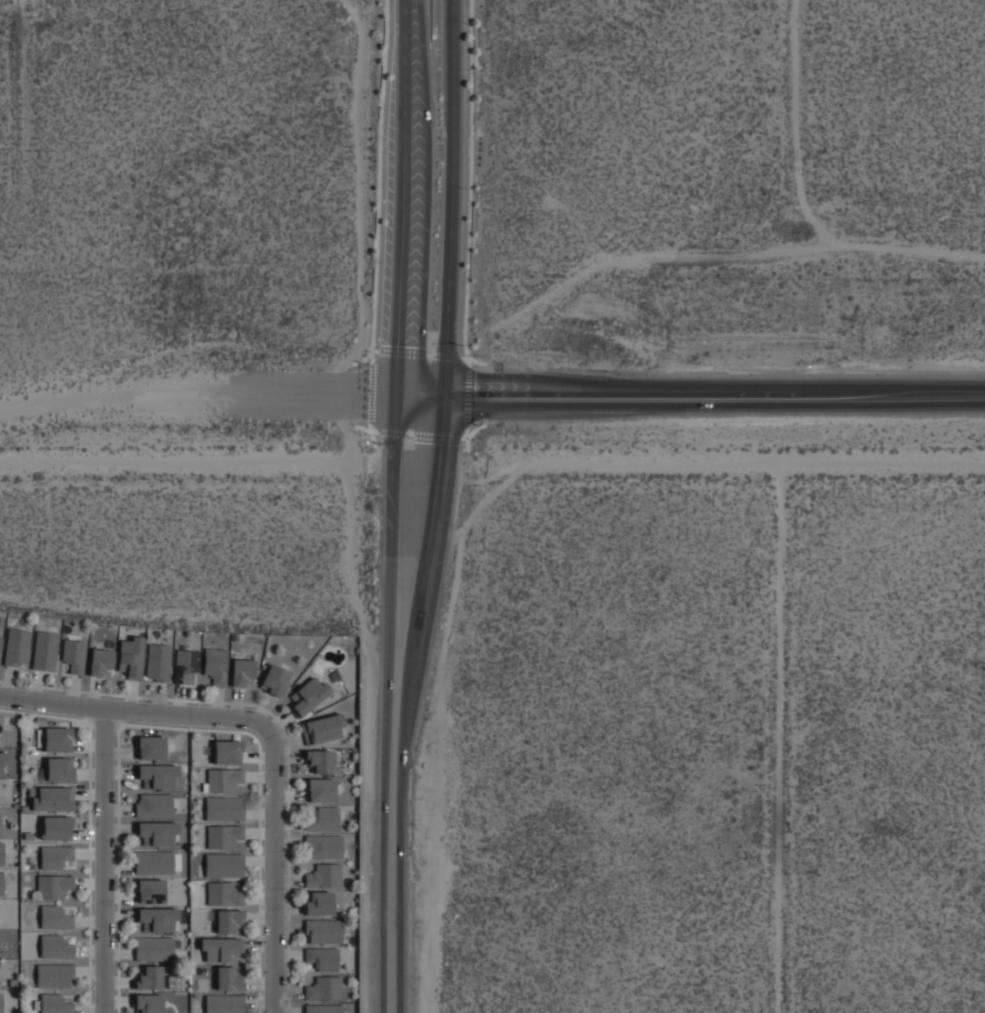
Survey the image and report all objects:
road: (404, 176)
road: (377, 187)
road: (470, 187)
road: (452, 192)
road: (375, 350)
road: (402, 352)
road: (429, 354)
road: (447, 355)
road: (371, 357)
road: (464, 357)
road: (469, 361)
road: (398, 368)
traffic signals: (397, 384)
road: (421, 384)
traffic signals: (446, 385)
road: (369, 388)
road: (626, 390)
road: (896, 390)
road: (370, 392)
road: (112, 393)
road: (284, 394)
road: (446, 396)
road: (466, 396)
road: (368, 404)
road: (715, 404)
traffic signals: (396, 407)
road: (421, 407)
traffic signals: (446, 408)
road: (394, 424)
road: (369, 431)
road: (369, 431)
road: (390, 433)
road: (466, 433)
road: (469, 433)
road: (408, 434)
road: (436, 435)
road: (463, 438)
road: (423, 589)
road: (393, 618)
building: (0, 642)
building: (17, 647)
building: (45, 651)
building: (74, 655)
building: (131, 657)
building: (100, 662)
building: (158, 662)
building: (215, 665)
building: (242, 672)
building: (275, 680)
building: (310, 695)
building: (324, 728)
building: (57, 739)
road: (268, 739)
building: (151, 747)
building: (227, 752)
building: (320, 761)
building: (59, 769)
building: (159, 775)
building: (223, 779)
building: (321, 790)
building: (51, 799)
building: (224, 808)
building: (155, 818)
building: (323, 819)
building: (0, 824)
building: (56, 828)
building: (223, 836)
building: (323, 846)
building: (1, 854)
building: (55, 856)
road: (104, 863)
building: (324, 875)
building: (1, 884)
building: (53, 886)
building: (154, 889)
road: (391, 891)
building: (318, 903)
building: (55, 918)
building: (323, 931)
building: (54, 947)
building: (155, 948)
building: (322, 958)
building: (54, 975)
building: (228, 981)
building: (323, 989)
building: (0, 1002)
building: (148, 1003)
building: (54, 1004)
building: (223, 1004)
building: (323, 1008)
building: (346, 1010)

